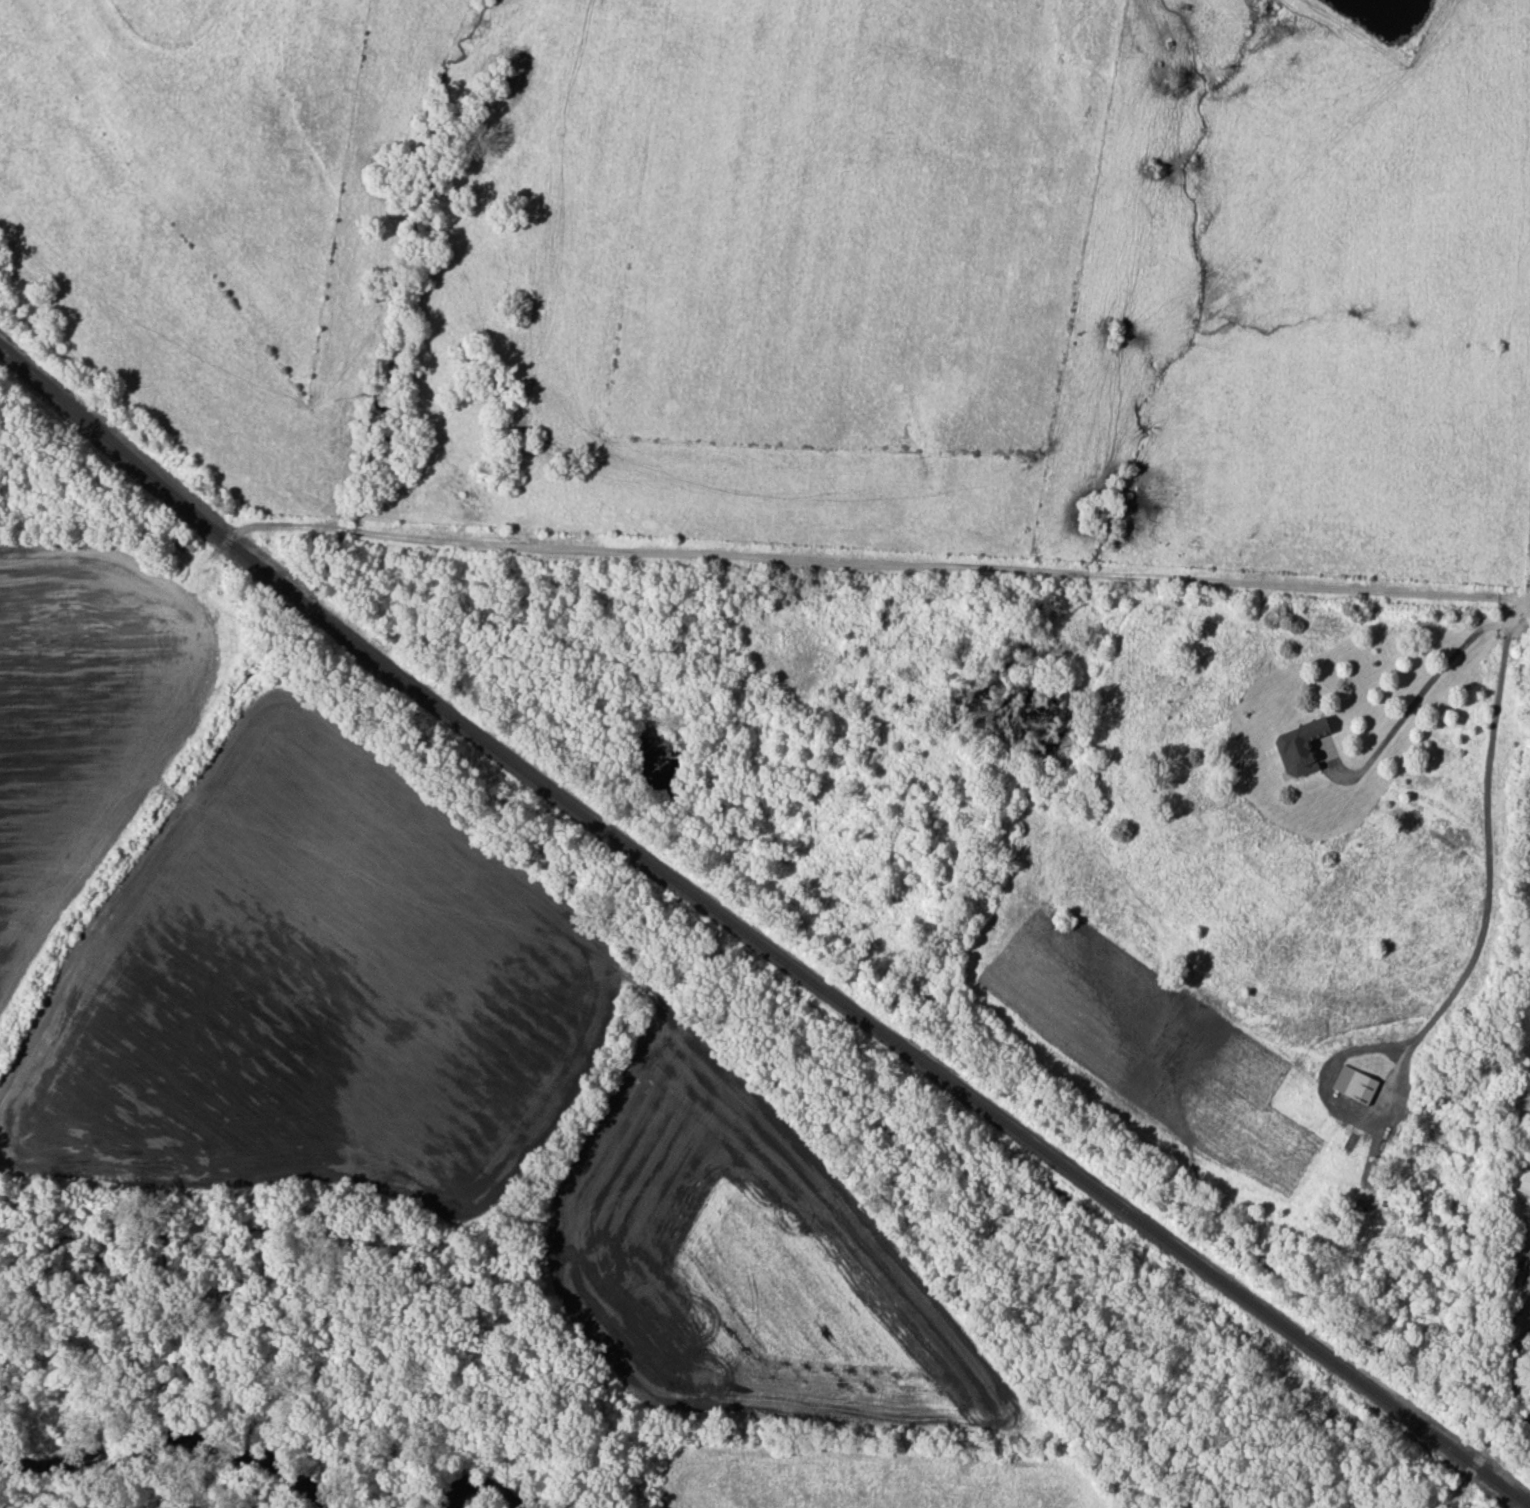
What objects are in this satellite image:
road: (919, 570)
road: (1423, 694)
building: (1299, 747)
road: (1487, 851)
railway: (755, 940)
building: (1354, 1085)
building: (1529, 1085)
building: (1524, 1184)

